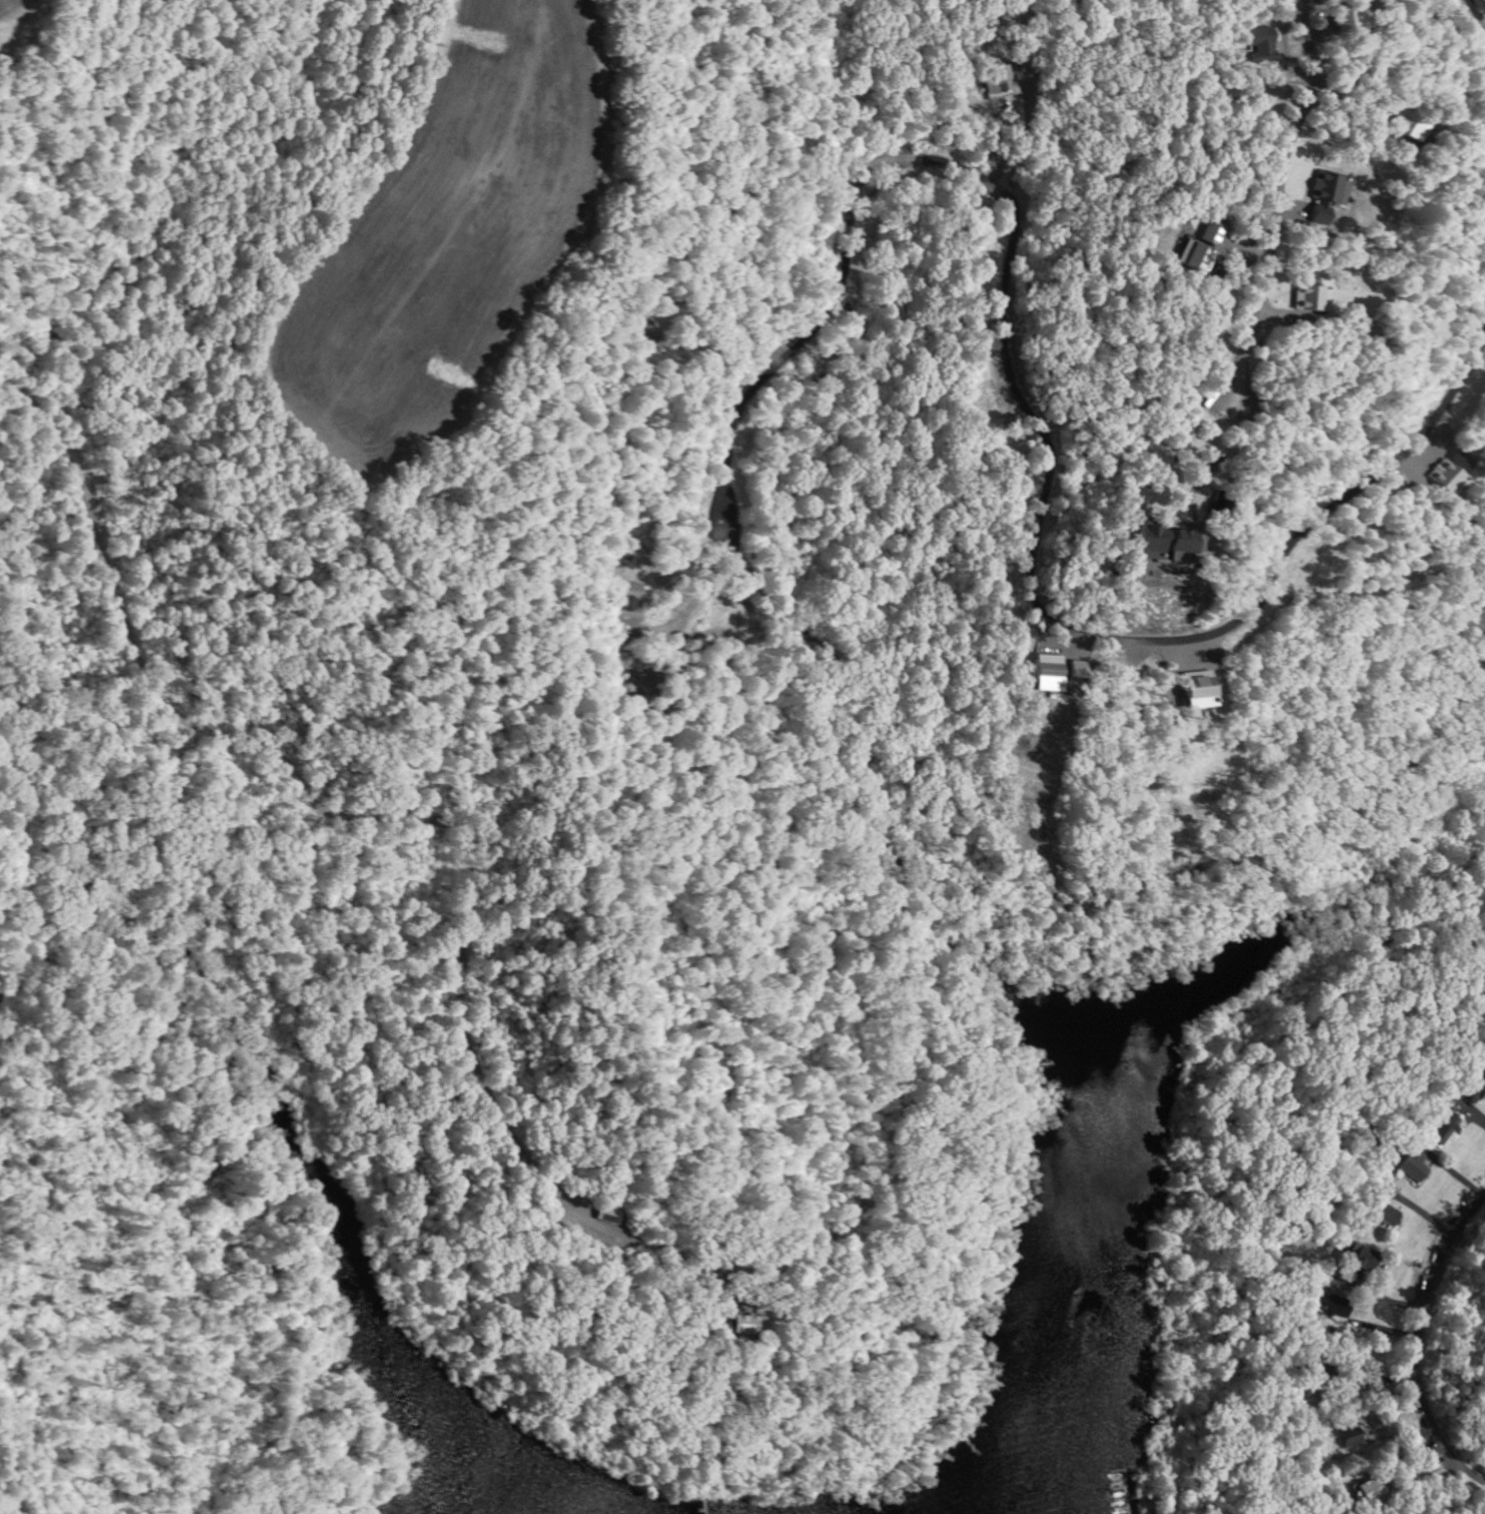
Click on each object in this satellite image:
building: (1350, 16)
building: (1266, 42)
building: (1002, 78)
building: (1412, 123)
building: (1332, 194)
building: (1205, 247)
building: (1312, 297)
building: (1458, 469)
building: (629, 590)
building: (621, 613)
building: (1057, 672)
building: (1206, 690)
building: (1446, 1127)
building: (1416, 1167)
building: (613, 1215)
building: (1392, 1215)
building: (1366, 1257)
building: (1339, 1305)
building: (752, 1325)
road: (1420, 1340)
building: (1355, 1436)
building: (1371, 1489)

